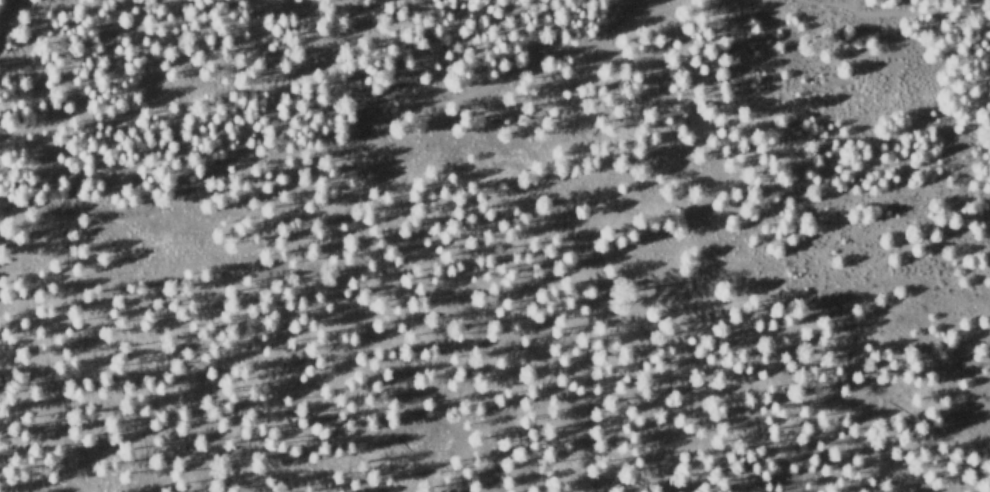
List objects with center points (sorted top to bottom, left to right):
road: (899, 9)
road: (328, 142)

